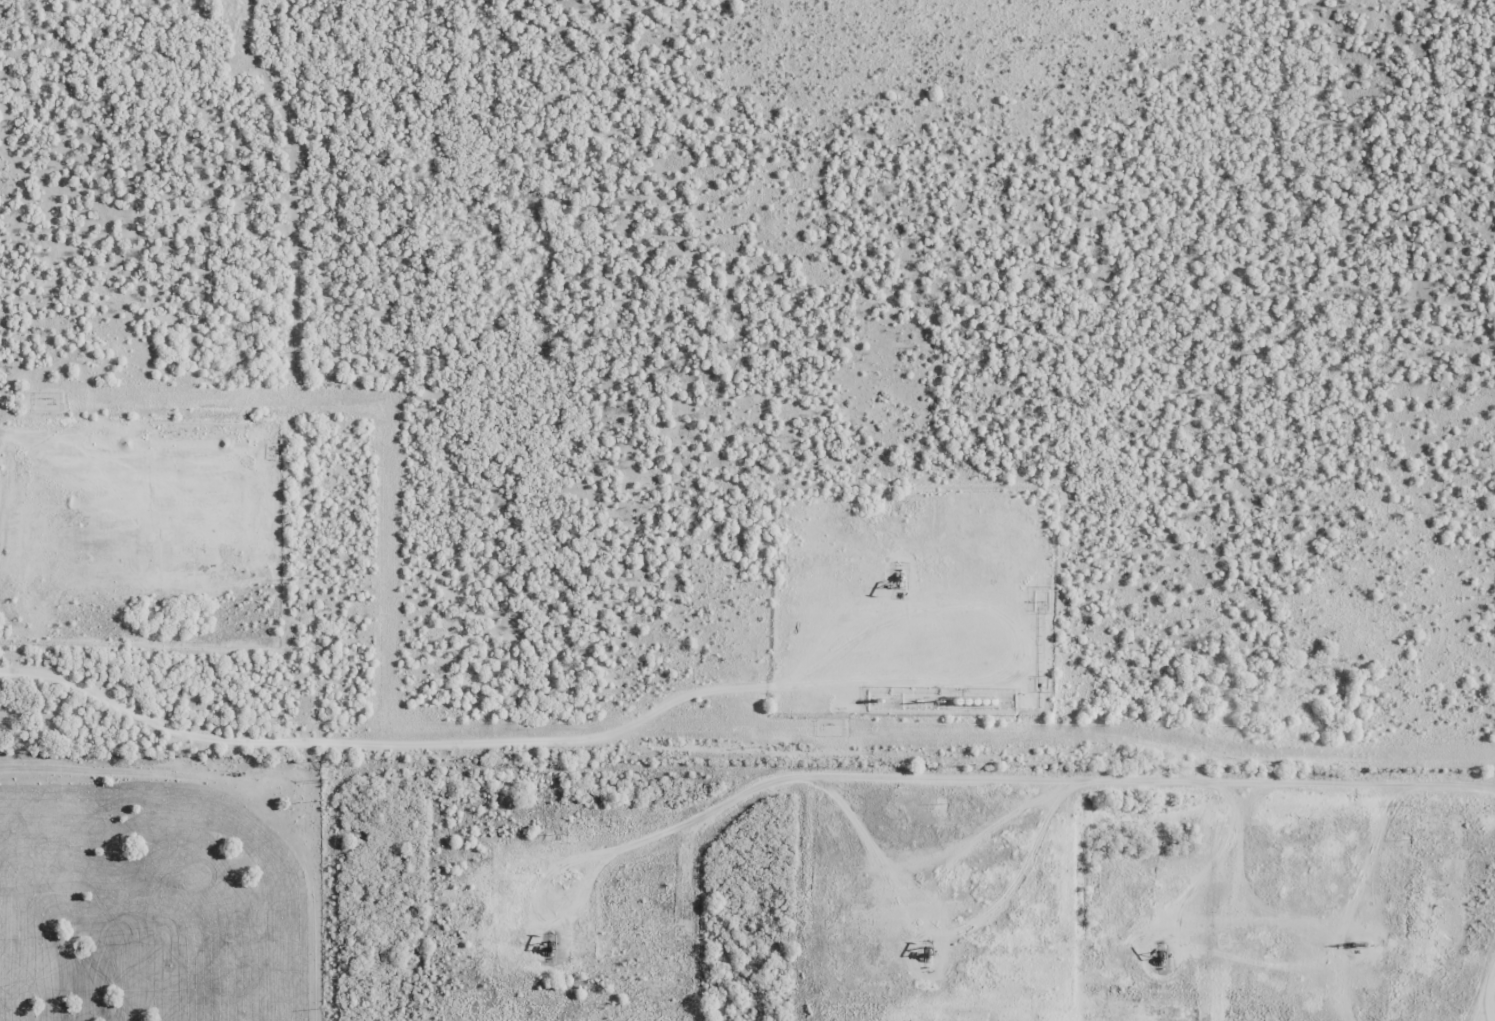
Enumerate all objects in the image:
building: (295, 806)
road: (1487, 1003)

